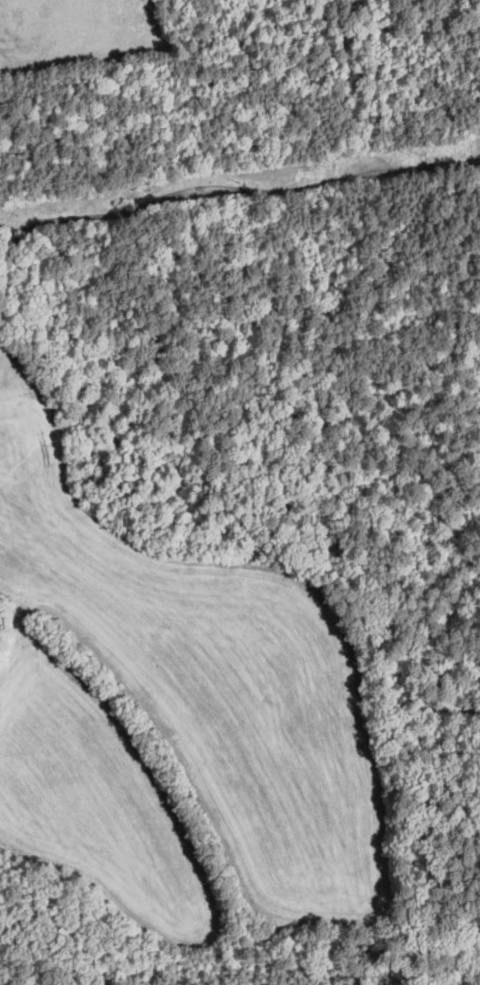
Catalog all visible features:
road: (195, 189)

